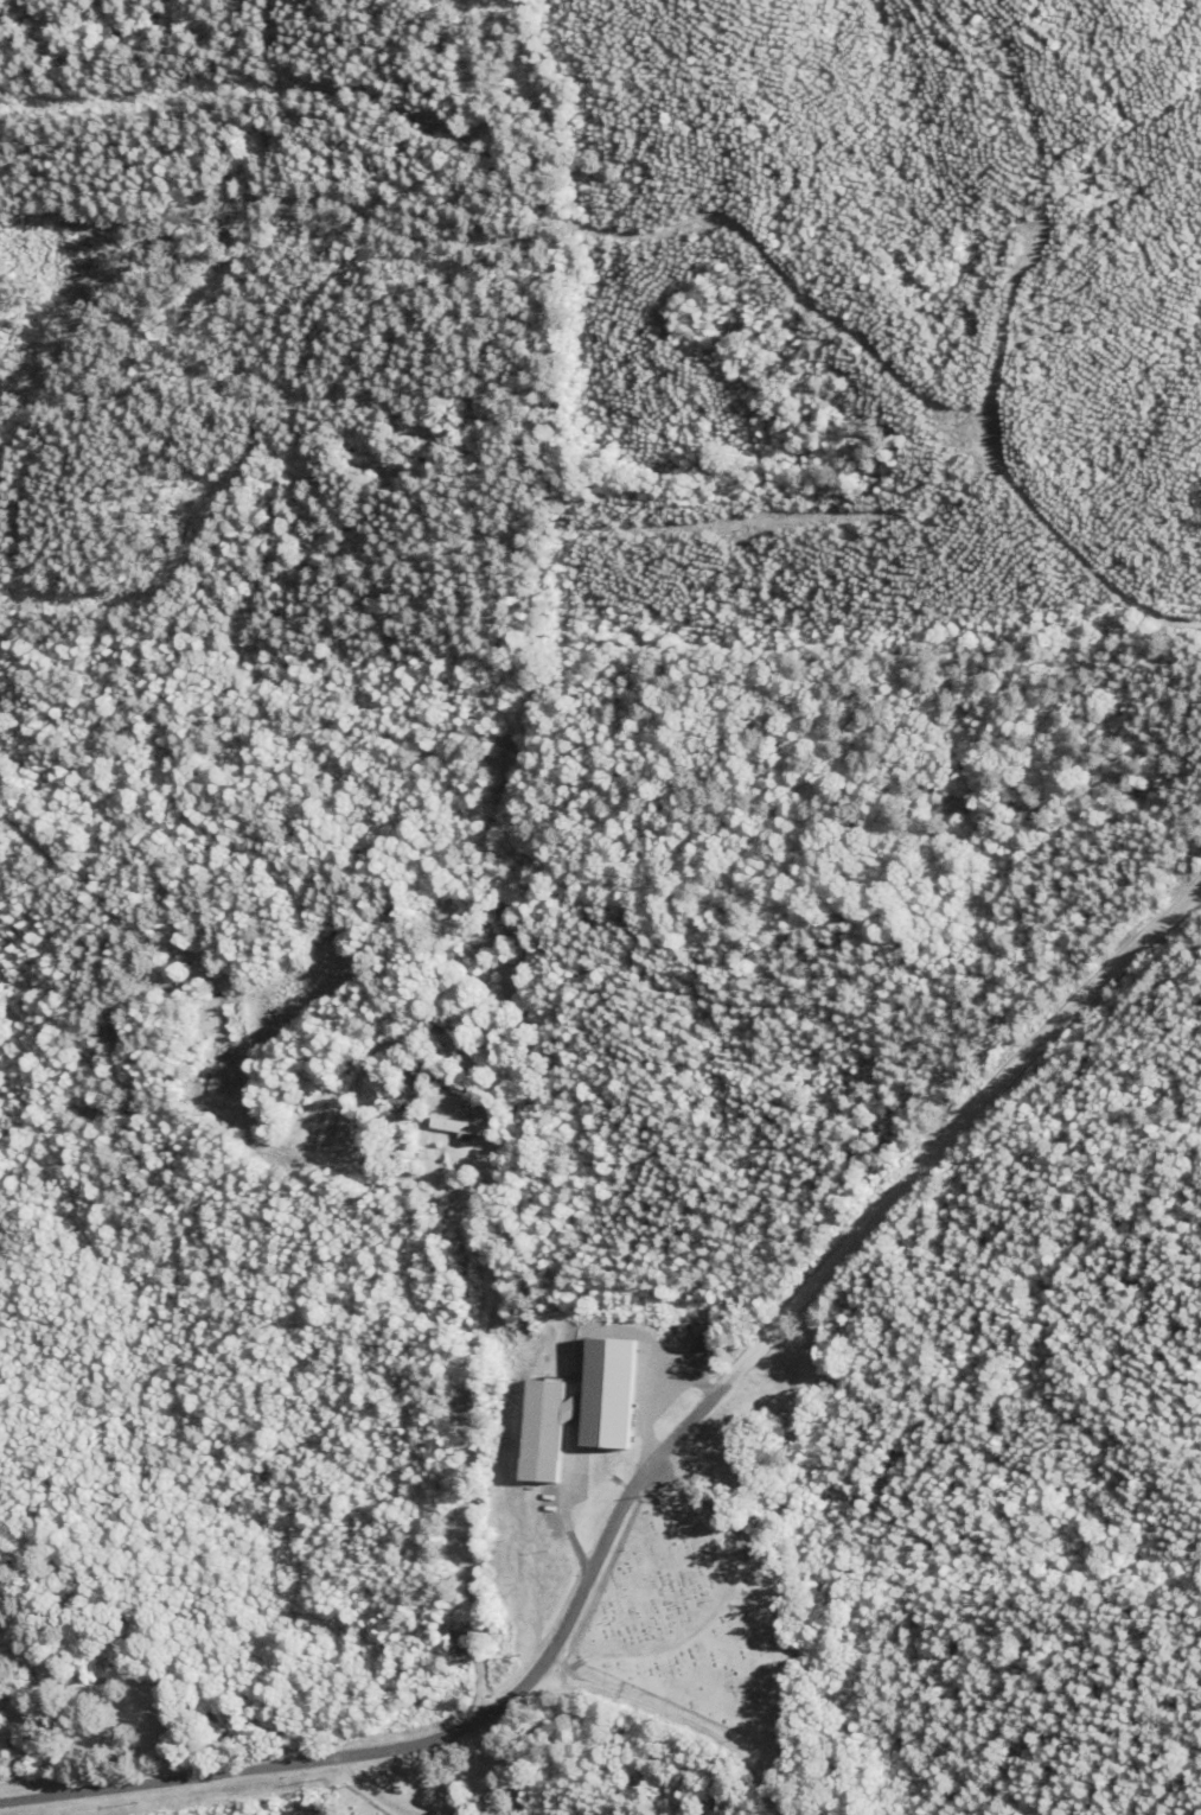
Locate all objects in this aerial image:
building: (428, 1069)
building: (708, 1342)
building: (589, 1405)
road: (645, 1463)
road: (679, 1718)

